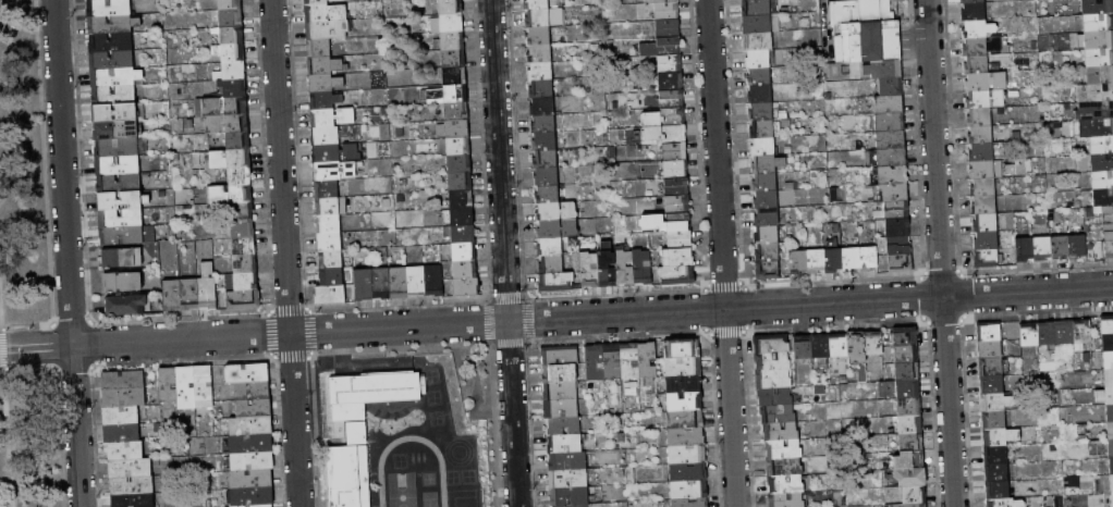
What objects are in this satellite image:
building: (661, 1)
building: (973, 1)
building: (317, 2)
building: (230, 4)
building: (536, 4)
building: (451, 7)
building: (1097, 7)
building: (109, 8)
building: (760, 8)
building: (975, 11)
building: (666, 12)
building: (317, 13)
building: (231, 18)
building: (547, 18)
building: (452, 23)
building: (1098, 23)
building: (112, 24)
building: (761, 24)
building: (668, 29)
building: (863, 29)
building: (978, 29)
building: (329, 30)
building: (232, 35)
building: (539, 36)
building: (1099, 40)
building: (450, 41)
building: (758, 41)
building: (111, 42)
building: (975, 47)
building: (662, 48)
building: (319, 49)
building: (230, 53)
building: (539, 53)
building: (1099, 58)
building: (453, 59)
building: (111, 60)
building: (761, 60)
building: (670, 64)
building: (976, 64)
building: (327, 66)
building: (883, 70)
building: (231, 72)
building: (540, 72)
building: (1100, 75)
building: (454, 76)
building: (117, 77)
building: (759, 77)
building: (671, 82)
building: (986, 82)
building: (325, 84)
building: (891, 87)
building: (233, 88)
building: (543, 89)
building: (1096, 92)
building: (444, 94)
building: (760, 95)
building: (113, 96)
building: (671, 99)
building: (986, 100)
building: (325, 101)
building: (889, 104)
building: (542, 107)
building: (222, 108)
building: (1094, 110)
building: (118, 112)
building: (456, 112)
building: (766, 112)
building: (332, 118)
building: (979, 118)
building: (663, 119)
building: (890, 122)
building: (543, 124)
building: (227, 125)
building: (1096, 127)
building: (454, 129)
building: (765, 129)
building: (115, 131)
building: (335, 135)
building: (674, 135)
building: (981, 135)
building: (891, 140)
building: (238, 141)
building: (545, 143)
building: (1101, 145)
building: (458, 147)
building: (119, 148)
building: (765, 148)
building: (675, 152)
building: (981, 152)
building: (335, 153)
building: (889, 159)
building: (231, 160)
building: (545, 160)
building: (1102, 162)
building: (460, 164)
building: (768, 164)
building: (118, 165)
building: (675, 170)
building: (990, 170)
building: (335, 172)
building: (891, 175)
building: (240, 176)
building: (546, 177)
building: (1102, 181)
building: (460, 182)
building: (765, 183)
building: (119, 184)
building: (676, 187)
building: (983, 188)
building: (327, 189)
building: (890, 193)
building: (231, 195)
building: (548, 195)
building: (1103, 197)
building: (462, 199)
building: (122, 200)
building: (766, 200)
building: (677, 206)
building: (983, 206)
building: (328, 207)
building: (897, 210)
building: (242, 212)
building: (556, 212)
building: (1101, 213)
building: (462, 217)
building: (121, 218)
building: (767, 218)
building: (665, 223)
building: (984, 223)
building: (329, 224)
building: (898, 227)
building: (243, 230)
building: (558, 230)
building: (1109, 232)
building: (125, 235)
building: (463, 235)
building: (767, 236)
building: (680, 239)
building: (987, 240)
building: (330, 242)
building: (898, 246)
building: (244, 247)
building: (550, 247)
building: (1077, 247)
building: (1060, 248)
building: (1024, 249)
building: (1042, 249)
building: (1109, 250)
building: (464, 252)
road: (503, 252)
road: (722, 252)
road: (66, 253)
road: (285, 253)
building: (768, 253)
road: (939, 253)
building: (122, 258)
building: (677, 258)
building: (833, 258)
building: (988, 258)
building: (851, 259)
building: (869, 259)
building: (330, 260)
building: (798, 262)
building: (816, 262)
building: (902, 263)
building: (244, 264)
building: (551, 265)
building: (607, 267)
building: (624, 267)
building: (641, 267)
building: (465, 270)
building: (589, 270)
park: (34, 271)
building: (768, 271)
building: (676, 275)
building: (331, 277)
building: (433, 281)
building: (243, 282)
building: (416, 282)
building: (122, 283)
building: (556, 283)
building: (381, 284)
building: (399, 284)
building: (364, 285)
building: (466, 287)
building: (207, 288)
building: (189, 295)
building: (330, 295)
building: (171, 296)
building: (240, 300)
road: (810, 304)
building: (127, 306)
road: (0, 316)
road: (453, 324)
building: (1106, 325)
road: (344, 330)
building: (989, 332)
building: (1064, 333)
building: (1048, 334)
building: (1081, 334)
building: (1030, 335)
road: (236, 336)
building: (905, 336)
building: (873, 343)
building: (1108, 343)
road: (91, 344)
building: (772, 344)
building: (839, 346)
building: (803, 348)
building: (682, 349)
building: (821, 349)
building: (990, 349)
road: (2, 350)
building: (857, 354)
building: (906, 355)
building: (560, 356)
building: (1108, 360)
building: (612, 361)
building: (629, 361)
building: (772, 362)
building: (595, 363)
building: (648, 363)
building: (683, 367)
building: (991, 367)
building: (907, 372)
building: (247, 373)
building: (560, 374)
building: (1109, 376)
building: (773, 380)
building: (123, 381)
building: (684, 383)
building: (992, 384)
building: (168, 385)
building: (186, 387)
building: (205, 387)
building: (900, 389)
building: (253, 391)
building: (561, 392)
building: (1105, 395)
building: (365, 396)
building: (774, 397)
building: (124, 398)
building: (685, 401)
building: (993, 403)
building: (254, 408)
building: (909, 408)
building: (561, 409)
building: (1110, 412)
building: (121, 416)
building: (778, 416)
building: (686, 420)
building: (993, 420)
building: (910, 424)
building: (250, 426)
building: (564, 426)
building: (1110, 430)
building: (781, 432)
building: (121, 433)
building: (686, 437)
building: (1000, 437)
road: (7, 441)
building: (912, 442)
building: (252, 444)
building: (565, 444)
building: (1111, 447)
building: (783, 449)
building: (125, 450)
building: (687, 454)
building: (995, 455)
building: (909, 460)
building: (252, 461)
building: (567, 461)
building: (1111, 466)
building: (785, 467)
building: (131, 468)
building: (461, 472)
building: (688, 472)
building: (350, 473)
building: (998, 473)
building: (910, 478)
building: (568, 479)
building: (252, 480)
building: (1111, 483)
building: (785, 484)
building: (132, 485)
building: (689, 490)
building: (998, 491)
building: (914, 495)
building: (250, 497)
building: (570, 497)
building: (1112, 498)
building: (133, 500)
building: (786, 500)
building: (689, 503)
building: (1005, 503)
building: (915, 505)
building: (259, 506)
building: (577, 506)

